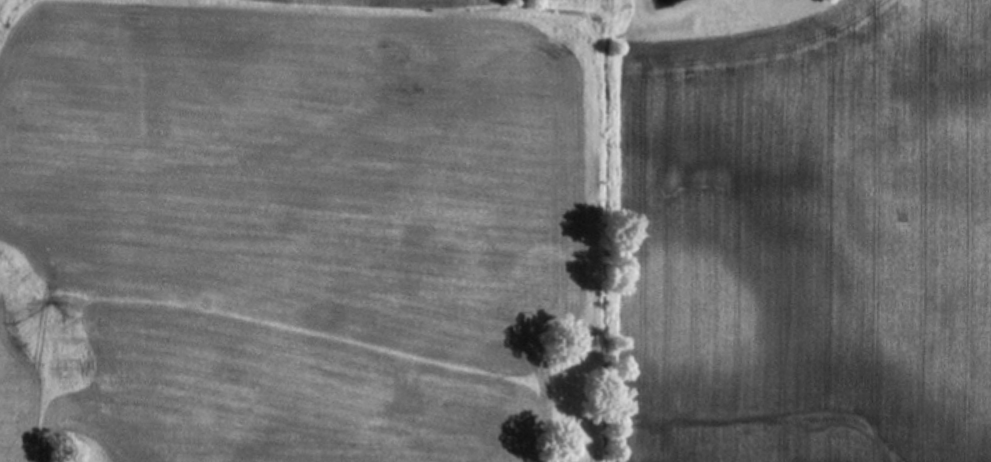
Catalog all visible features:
building: (415, 3)

